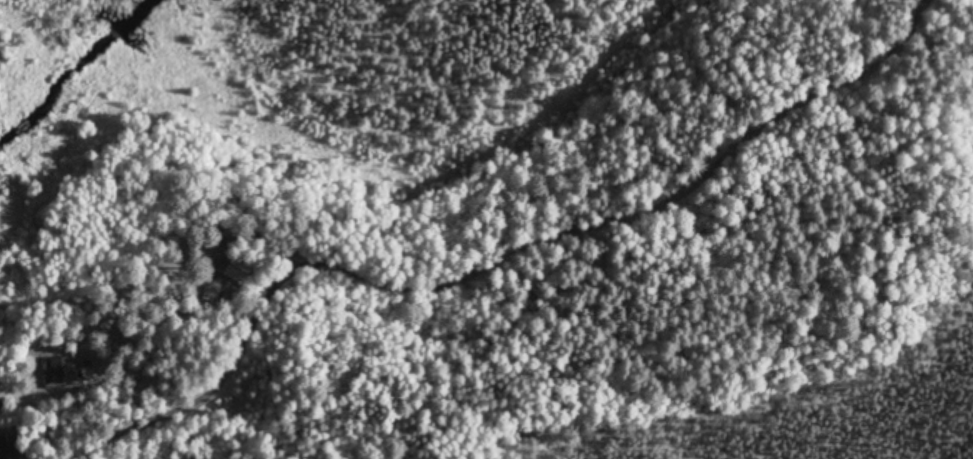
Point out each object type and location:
road: (579, 234)
building: (56, 371)
building: (5, 448)

